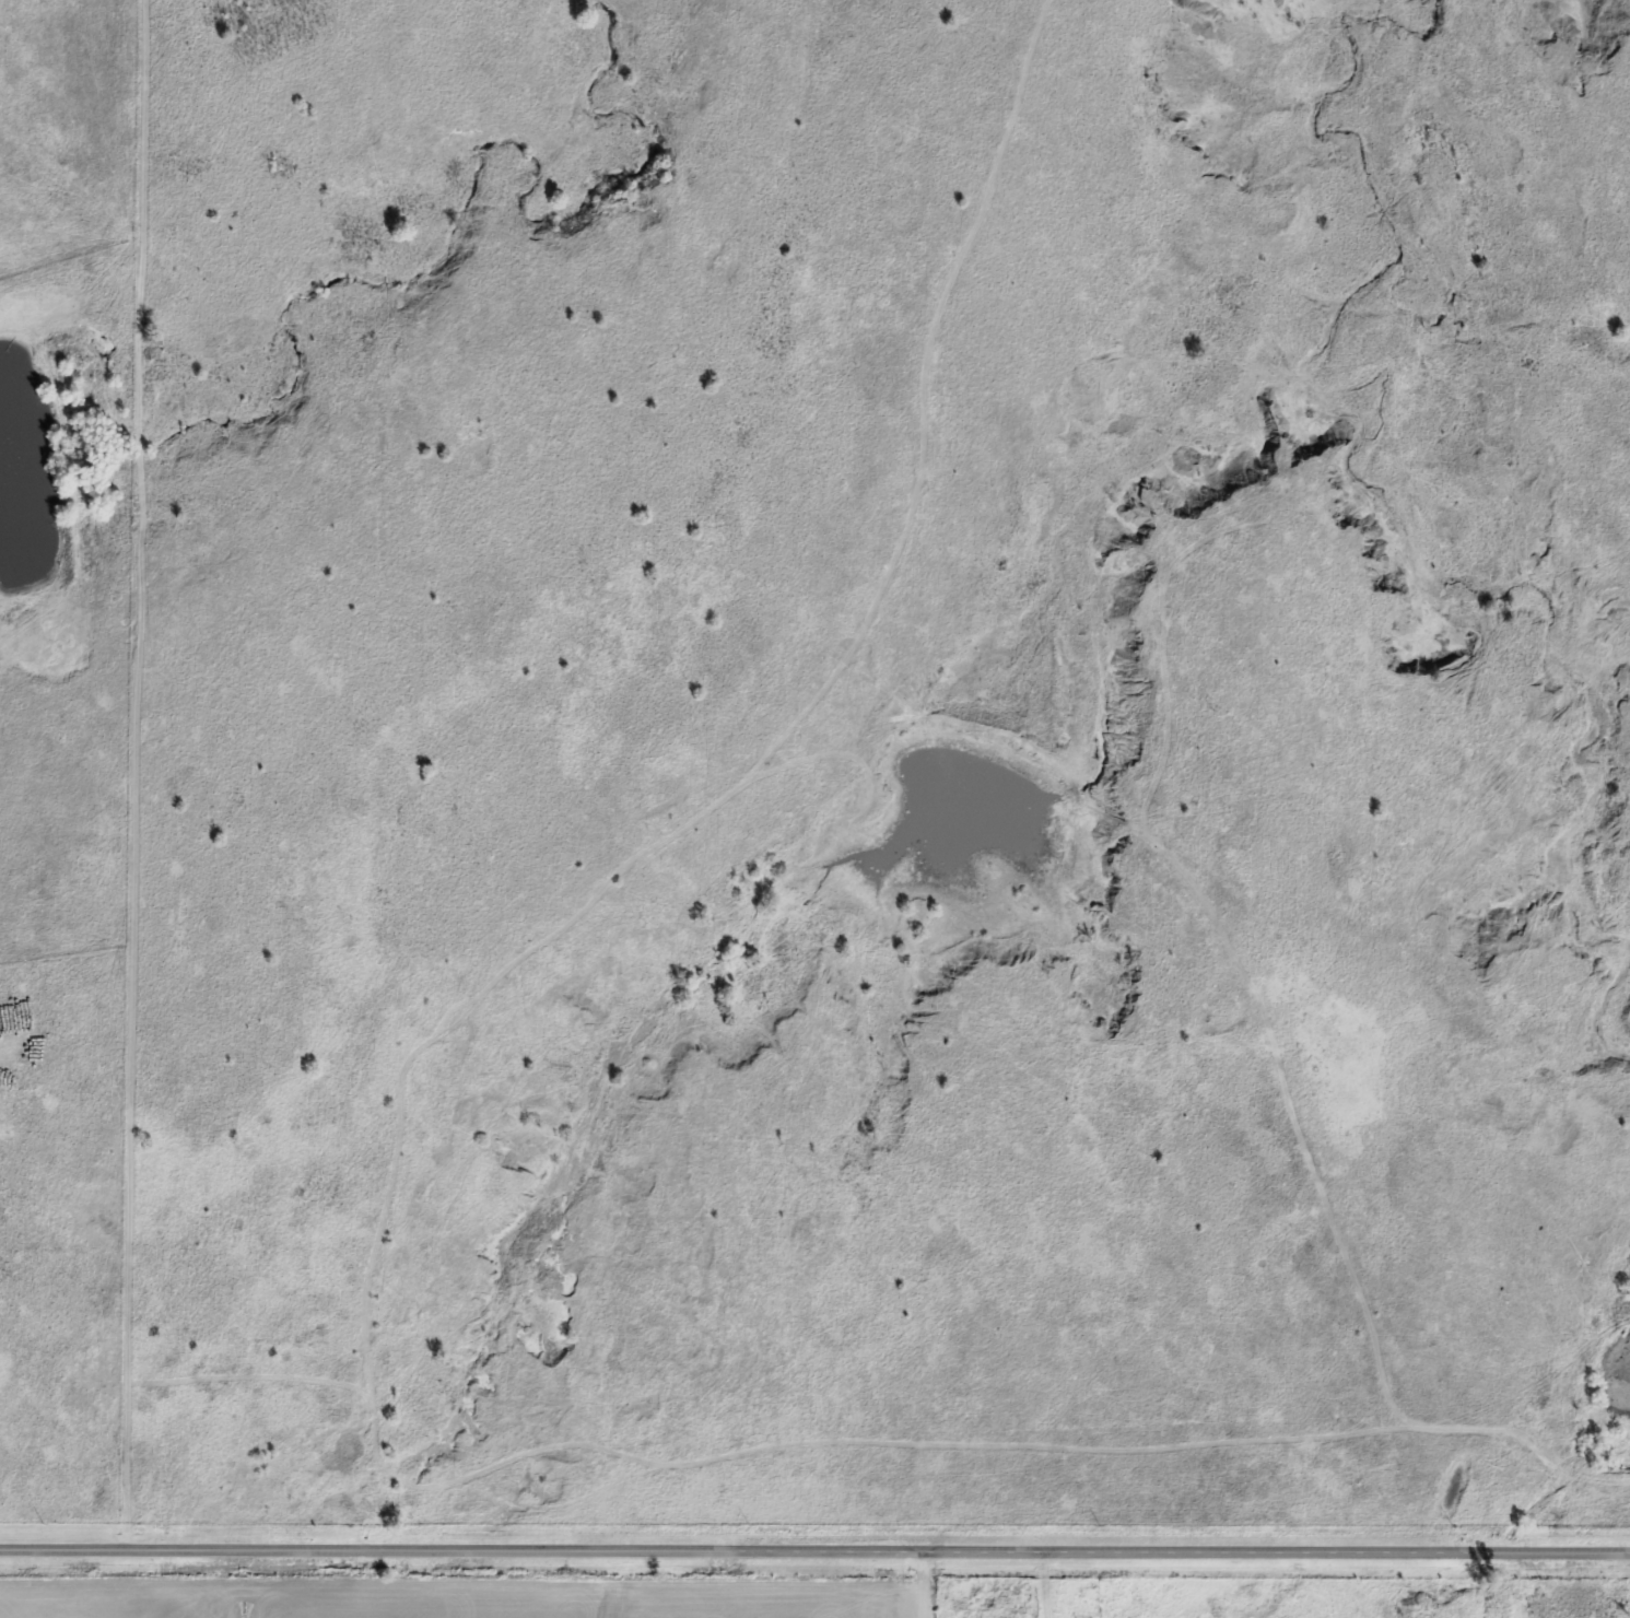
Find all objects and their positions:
road: (814, 1549)

